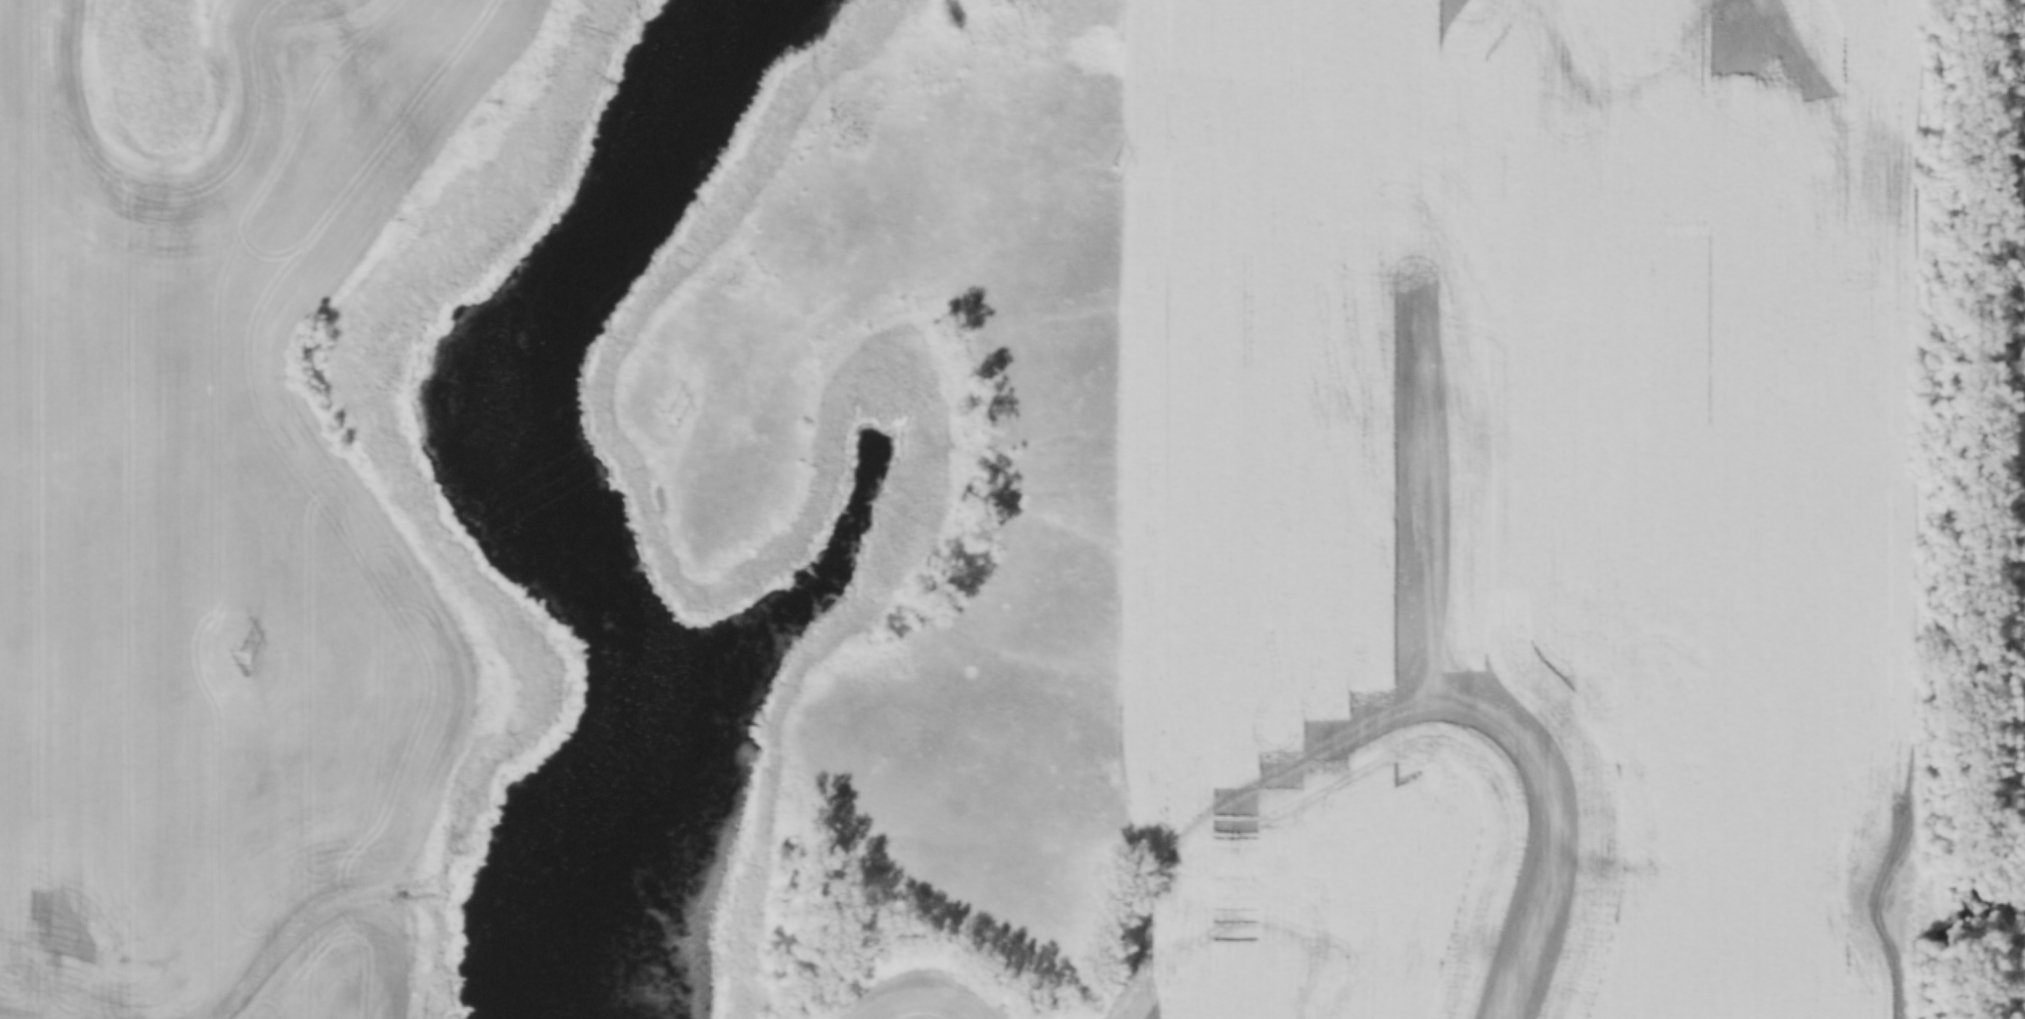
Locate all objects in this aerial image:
power tower: (1117, 173)
power tower: (671, 419)
power tower: (244, 658)

